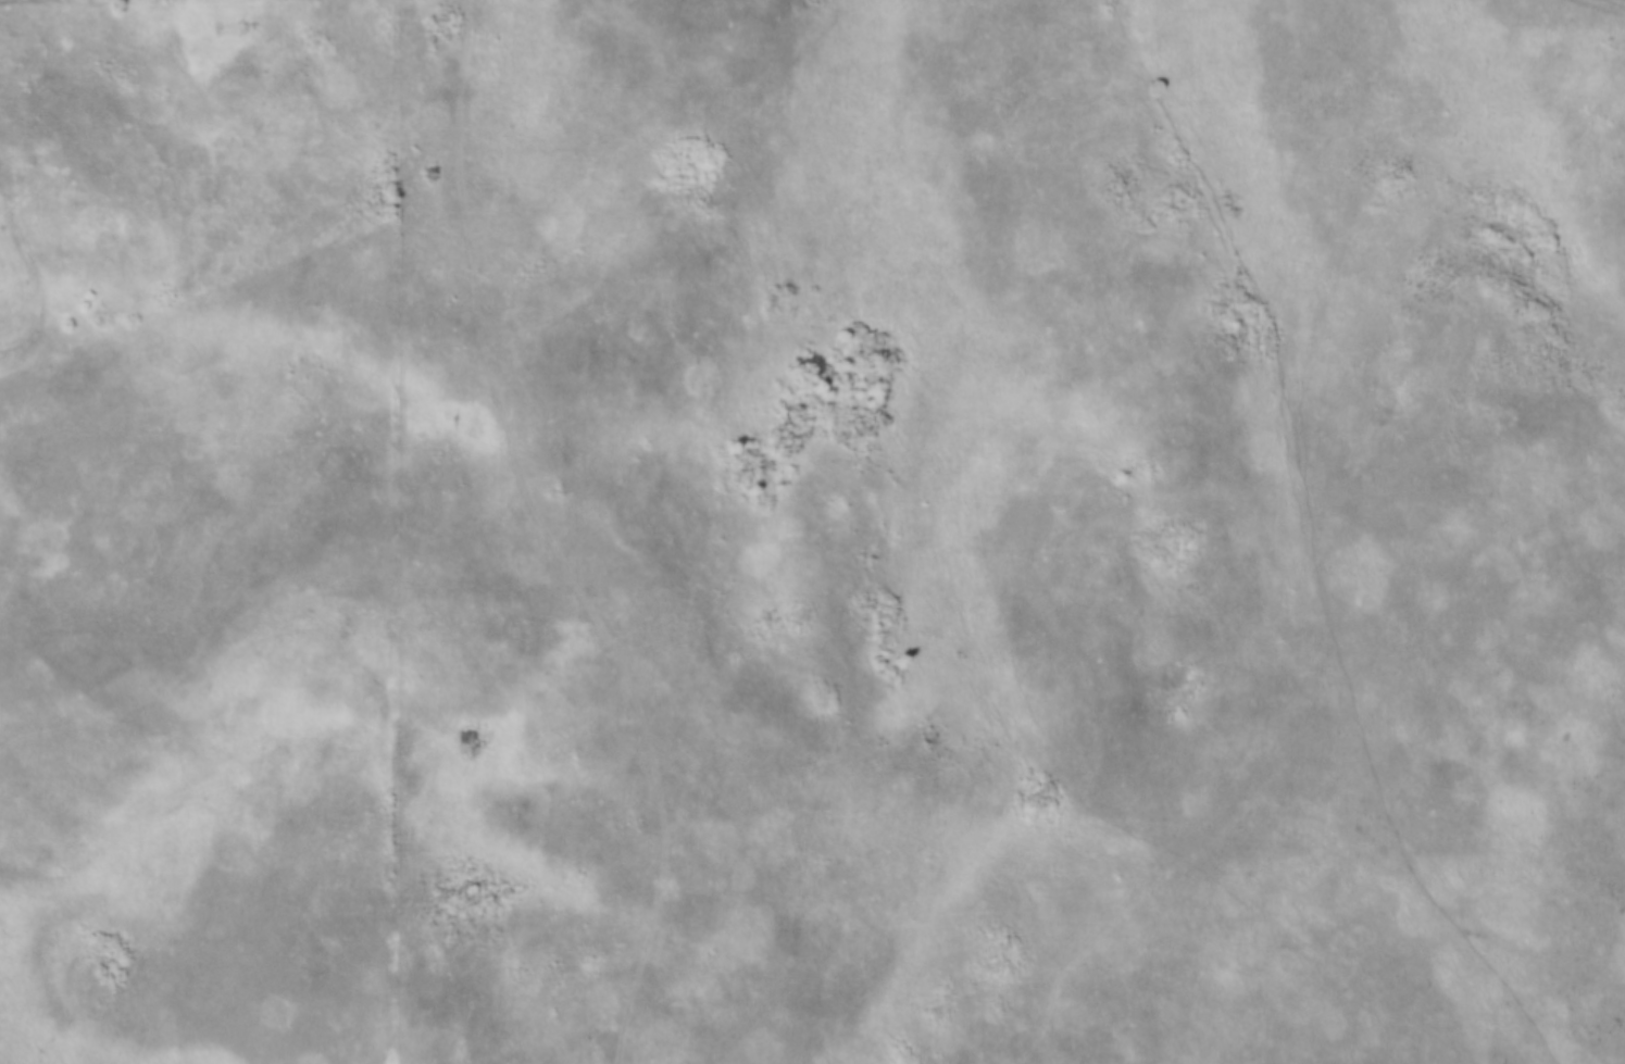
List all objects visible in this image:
road: (1599, 9)

